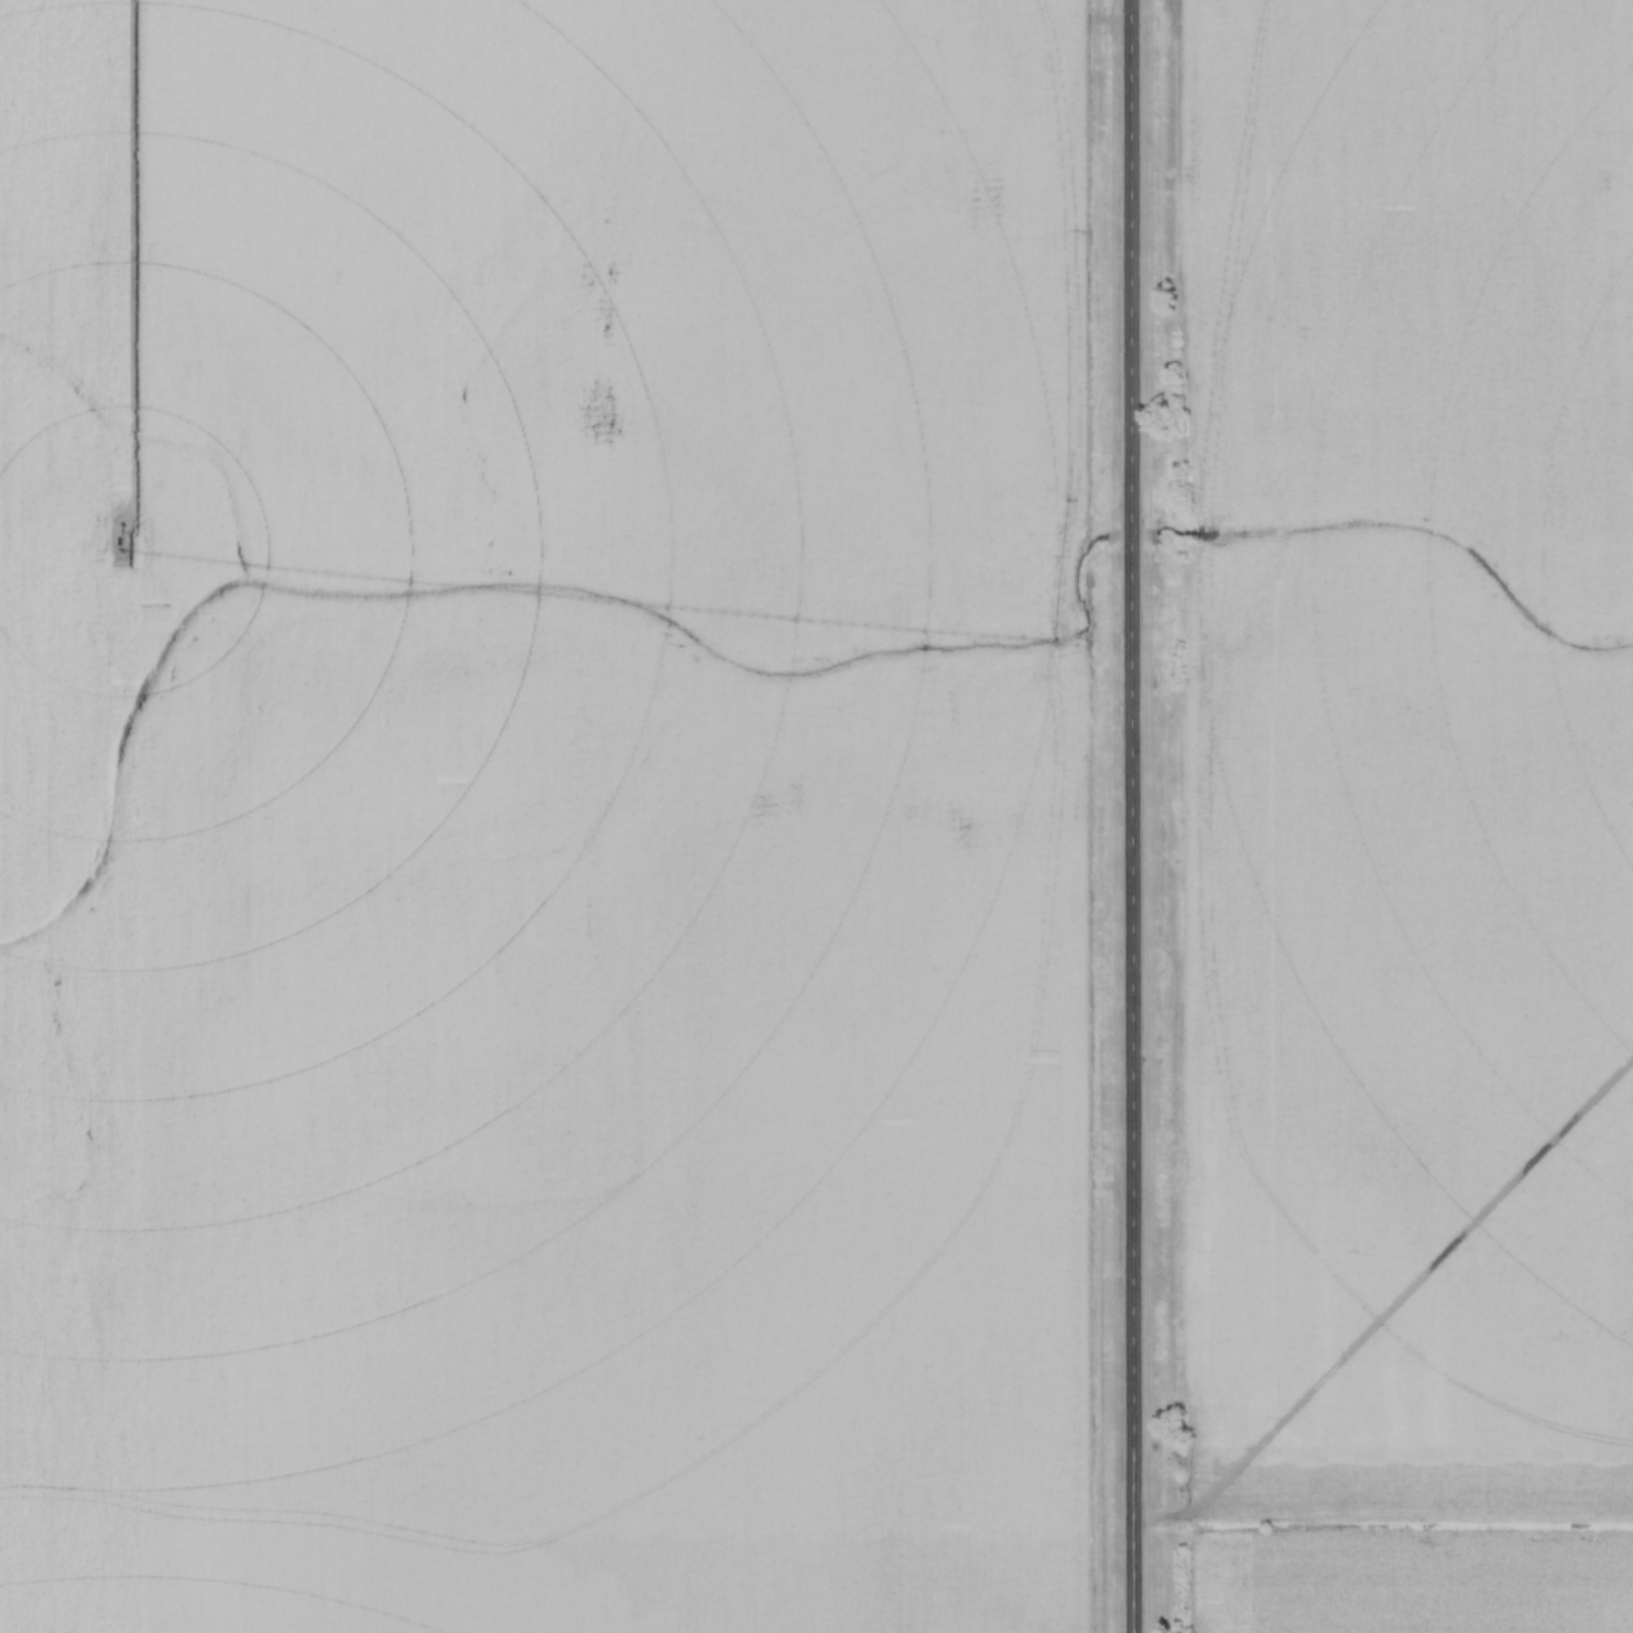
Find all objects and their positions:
road: (1134, 816)

